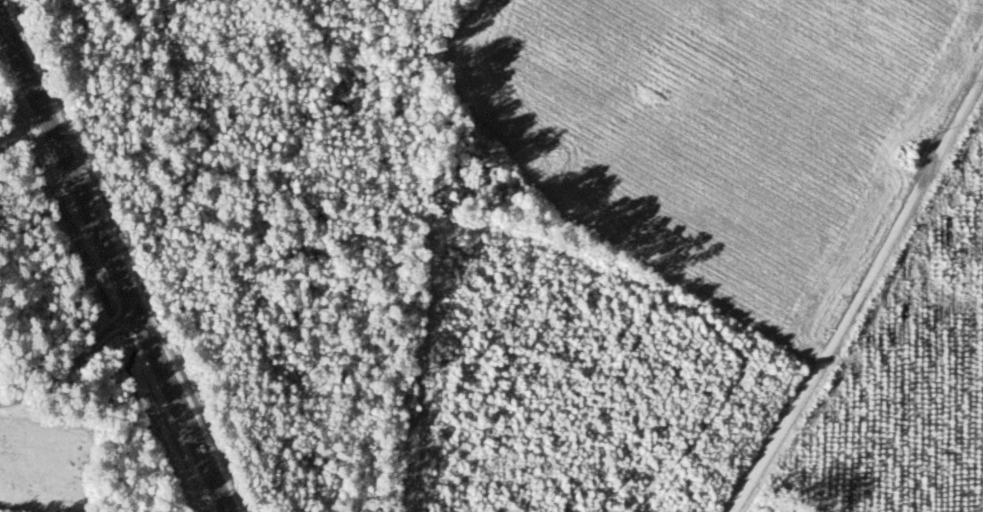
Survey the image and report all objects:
road: (23, 111)
road: (111, 259)
road: (861, 294)
road: (85, 367)

